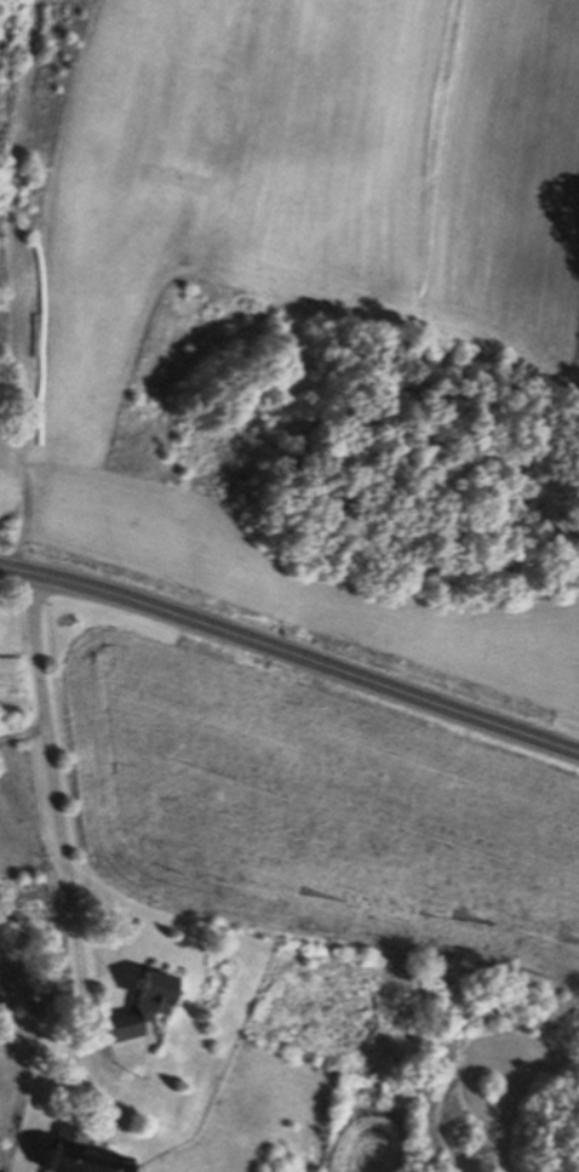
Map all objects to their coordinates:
road: (12, 282)
road: (291, 652)
road: (59, 817)
building: (141, 1005)
building: (80, 1153)

